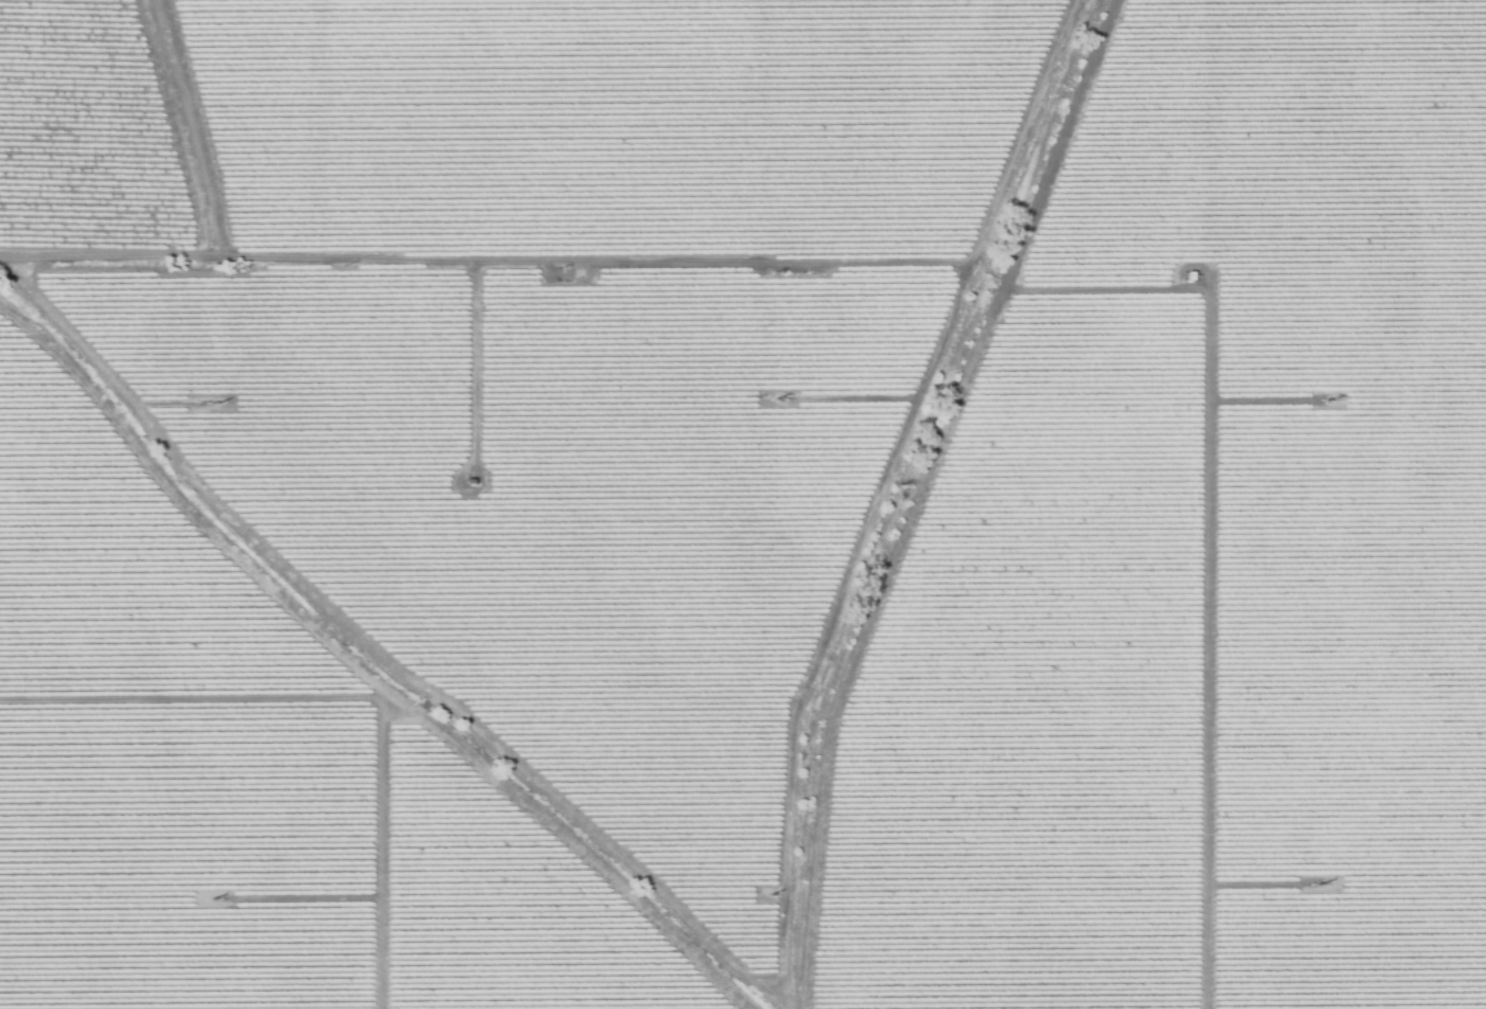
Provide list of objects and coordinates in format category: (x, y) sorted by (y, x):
building: (1186, 277)

